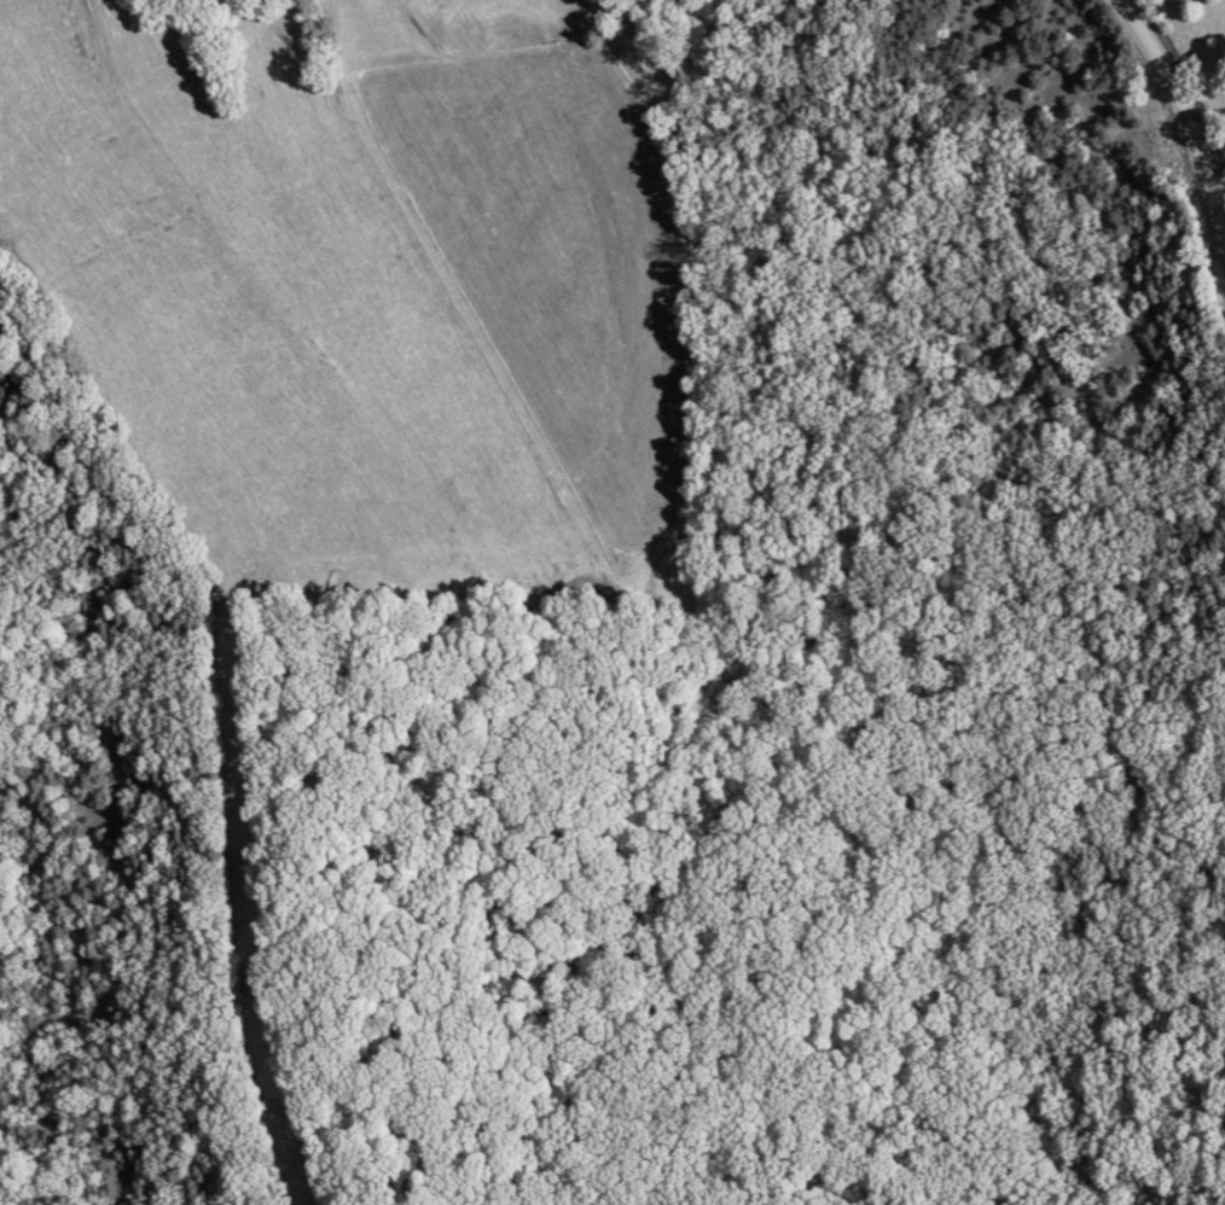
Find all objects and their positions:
road: (1185, 103)

